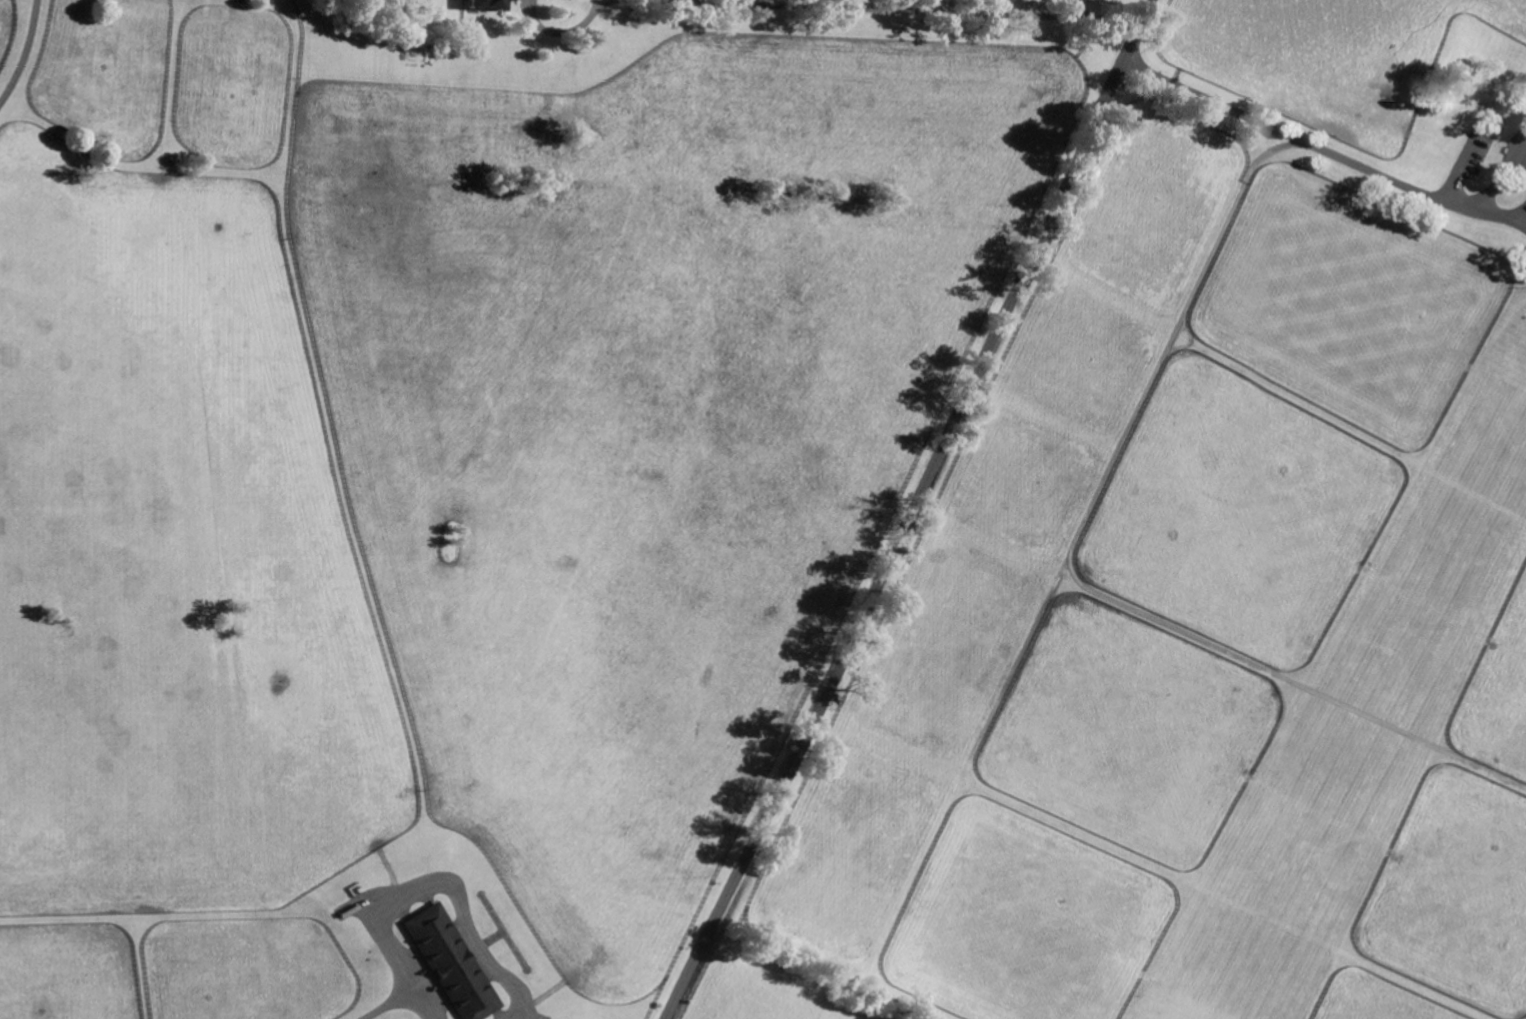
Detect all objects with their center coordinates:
building: (488, 5)
road: (816, 7)
road: (25, 54)
road: (1321, 149)
road: (914, 512)
building: (453, 963)
road: (382, 1005)

